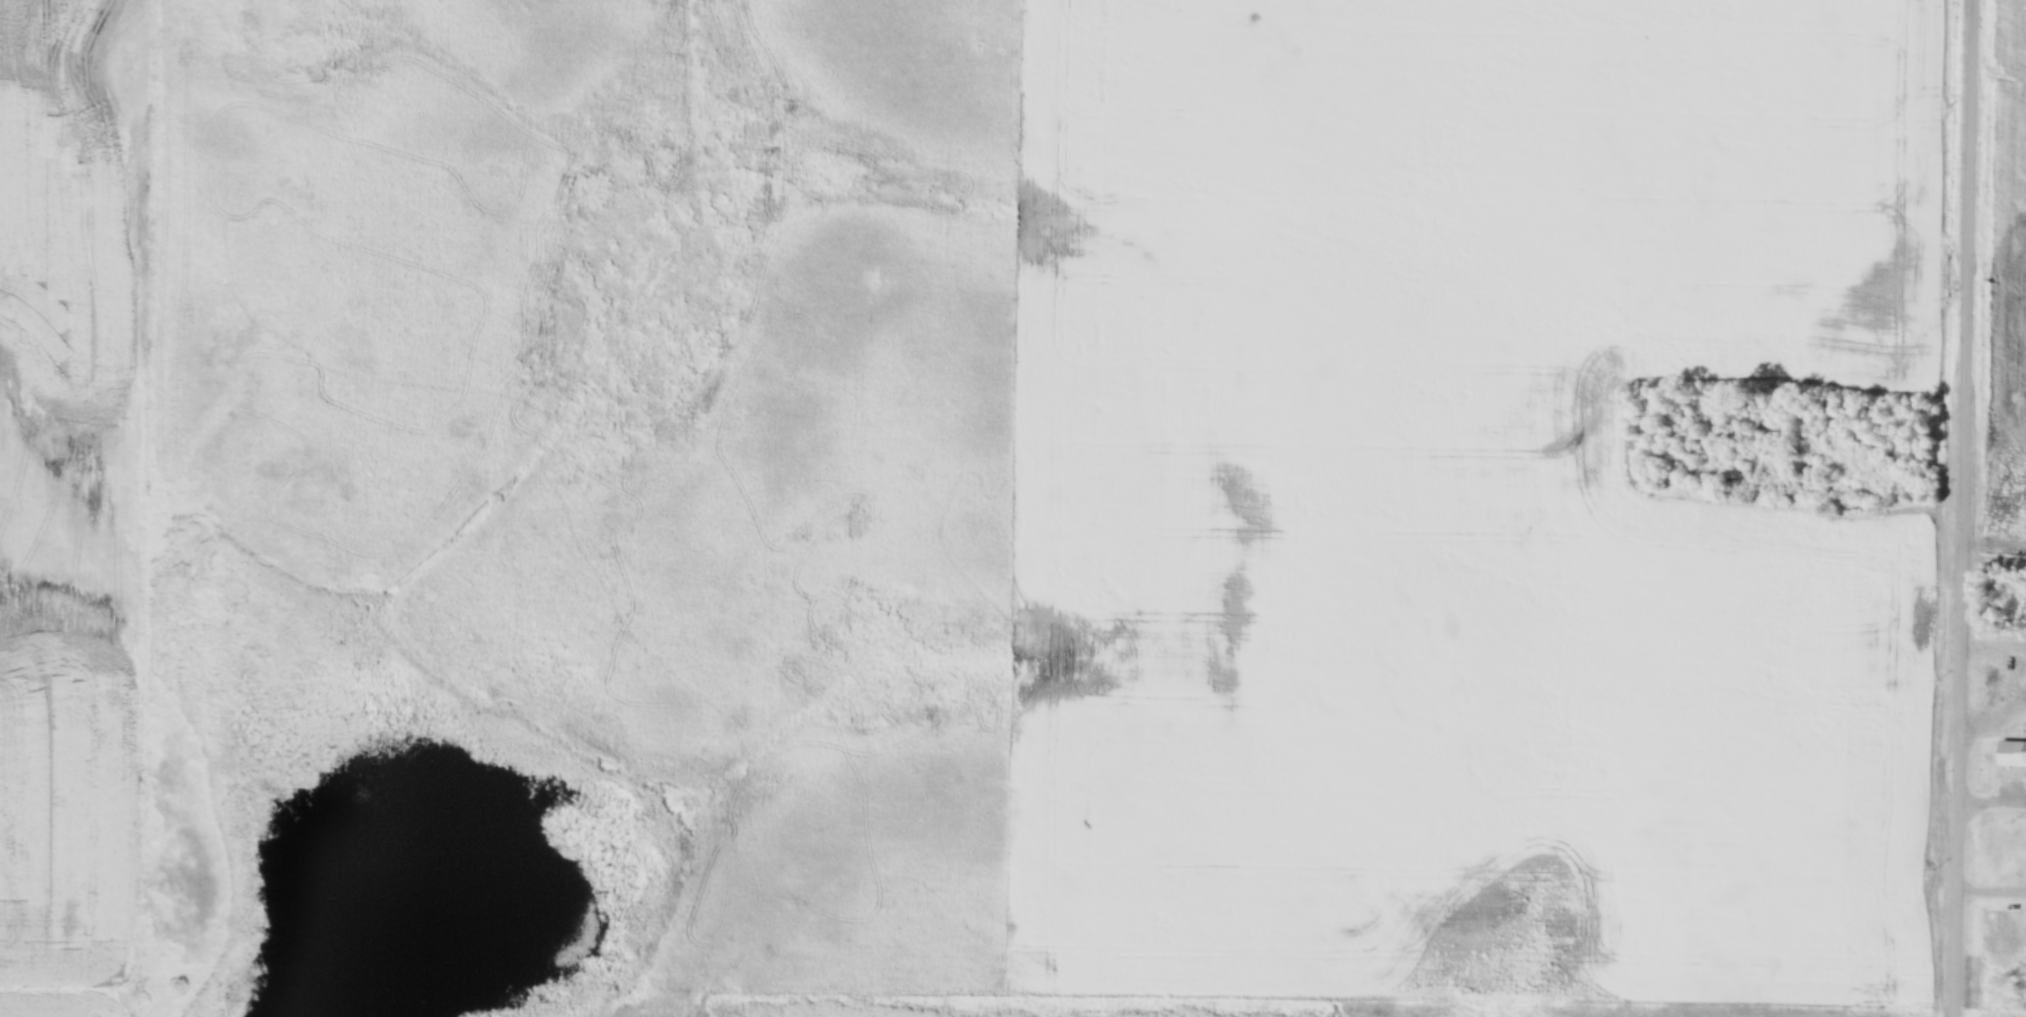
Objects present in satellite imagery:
road: (1959, 508)
road: (1990, 713)
building: (2021, 752)
road: (1990, 794)

